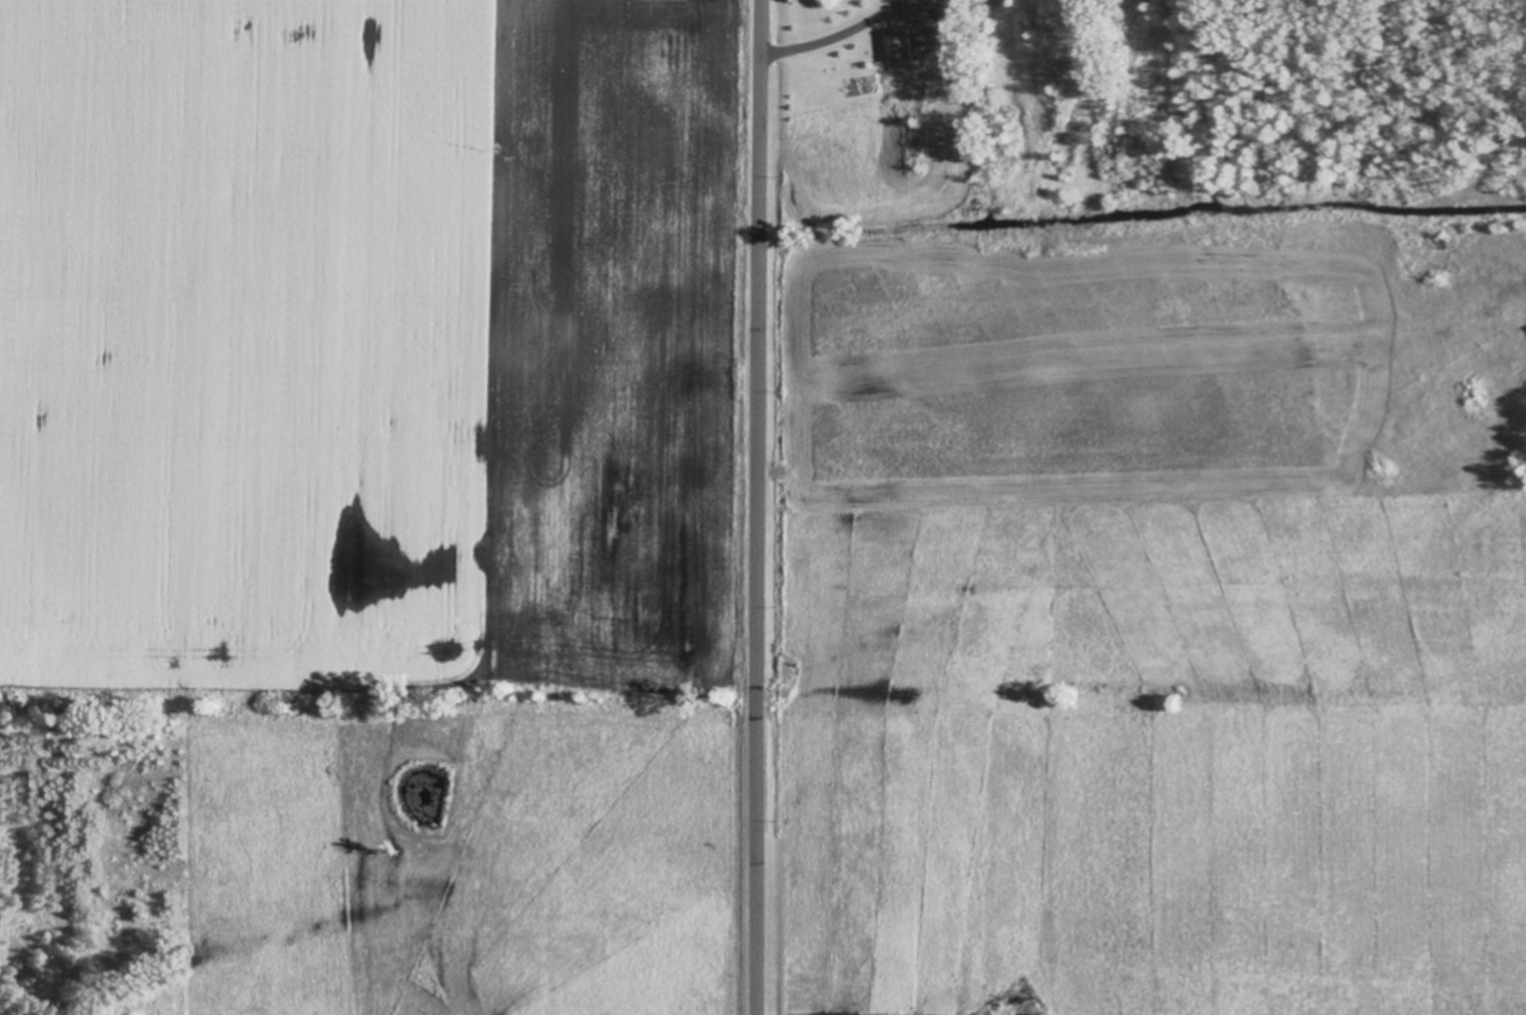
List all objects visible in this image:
road: (837, 39)
building: (903, 46)
building: (1525, 386)
road: (759, 507)

